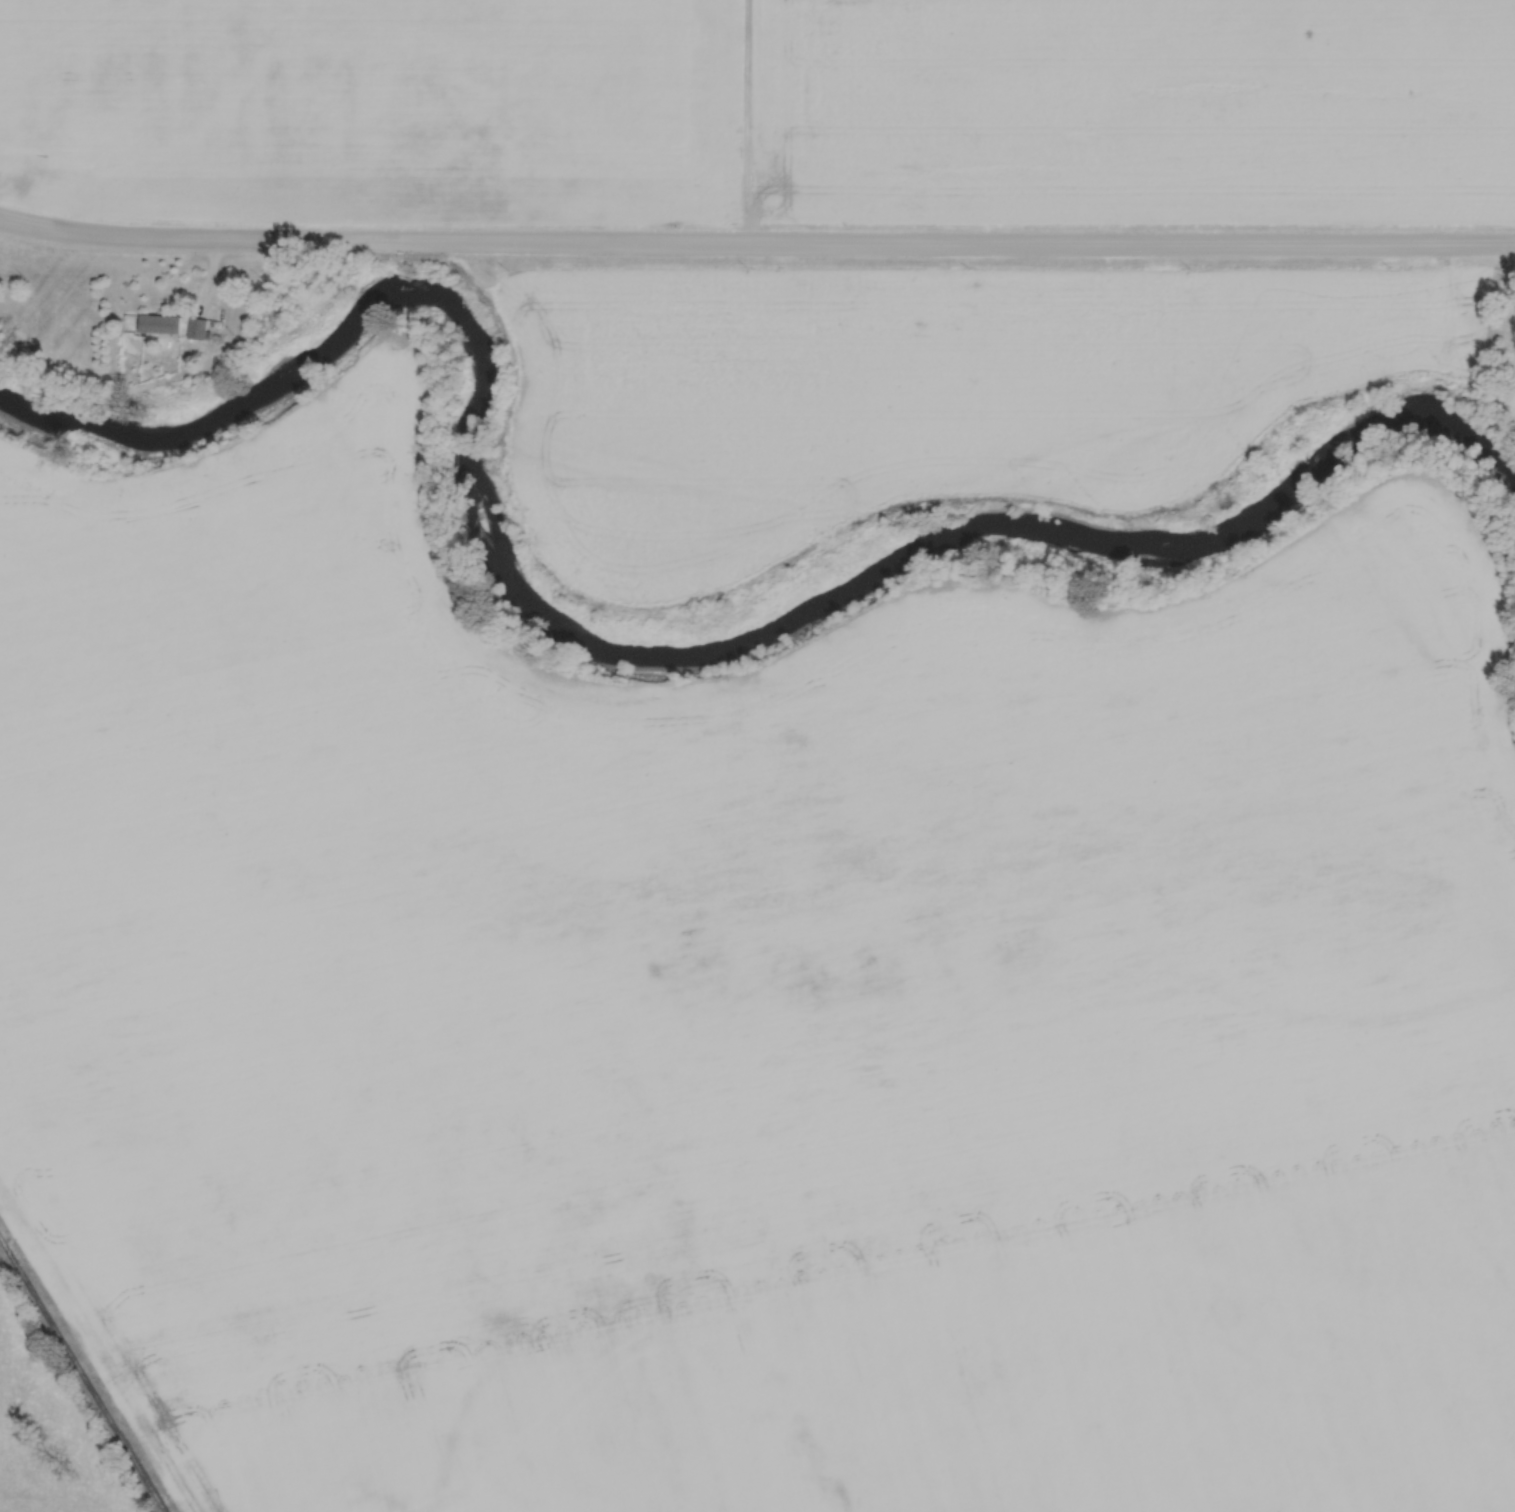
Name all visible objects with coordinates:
road: (756, 243)
building: (161, 323)
building: (198, 328)
river: (641, 648)

